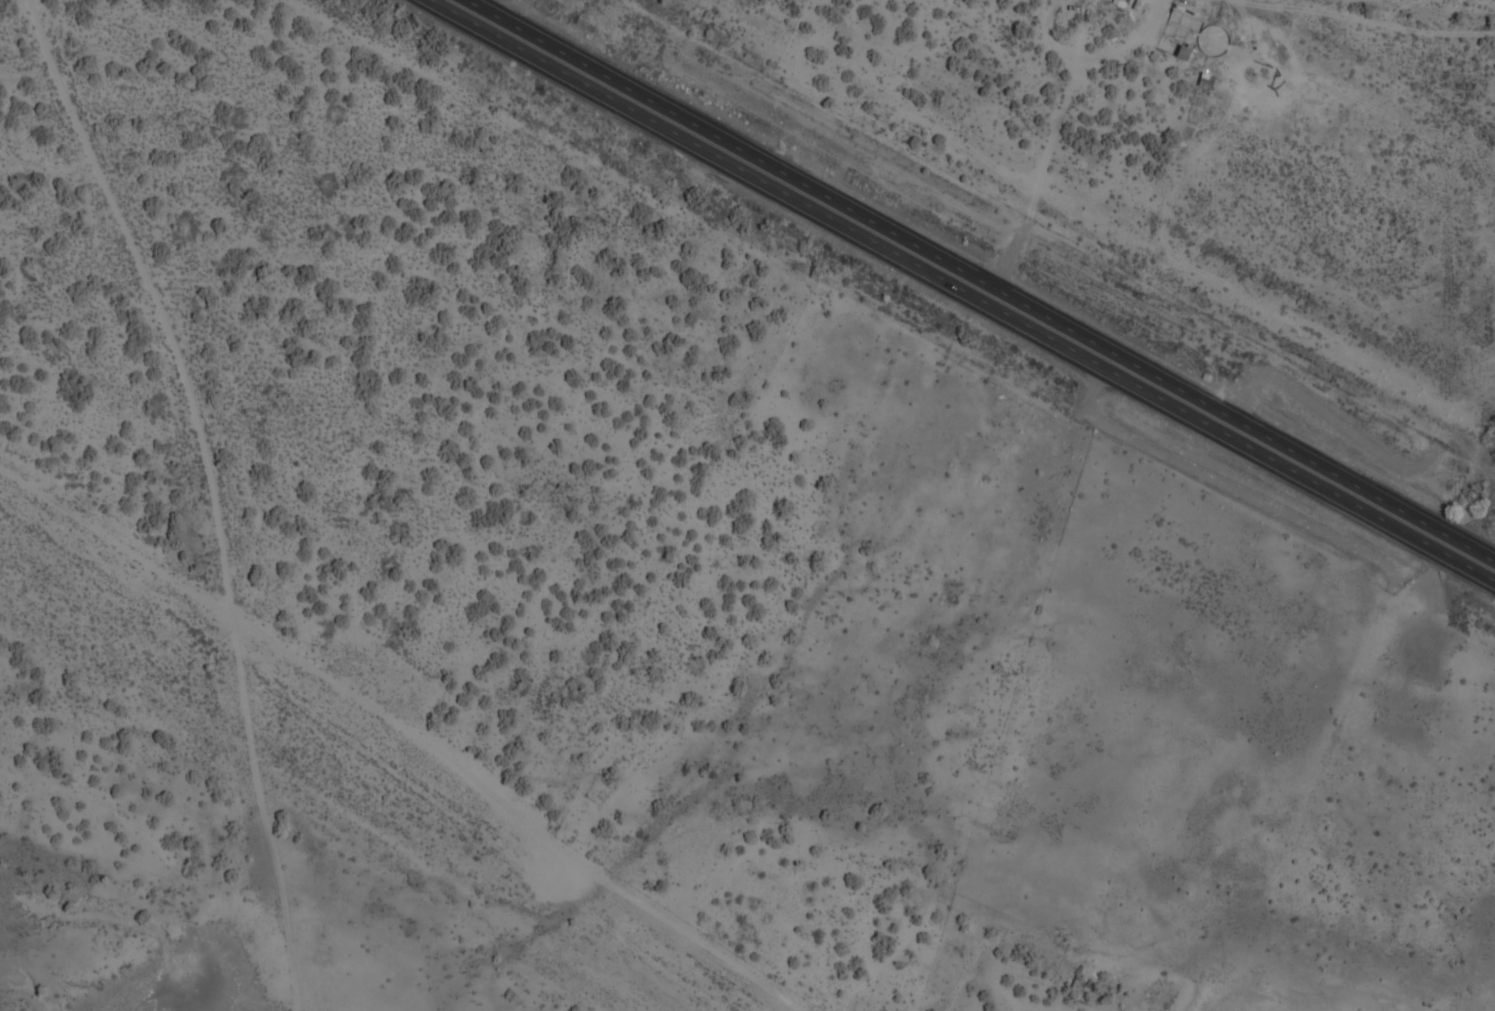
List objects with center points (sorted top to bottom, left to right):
building: (1208, 82)
road: (978, 281)
road: (958, 293)
road: (212, 493)
building: (1077, 988)

